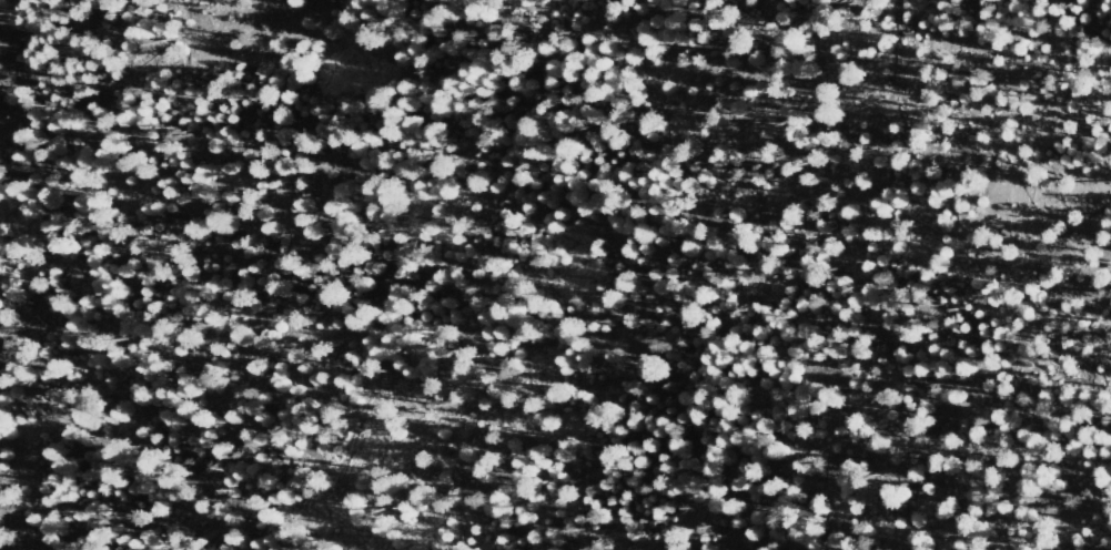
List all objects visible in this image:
road: (336, 164)

